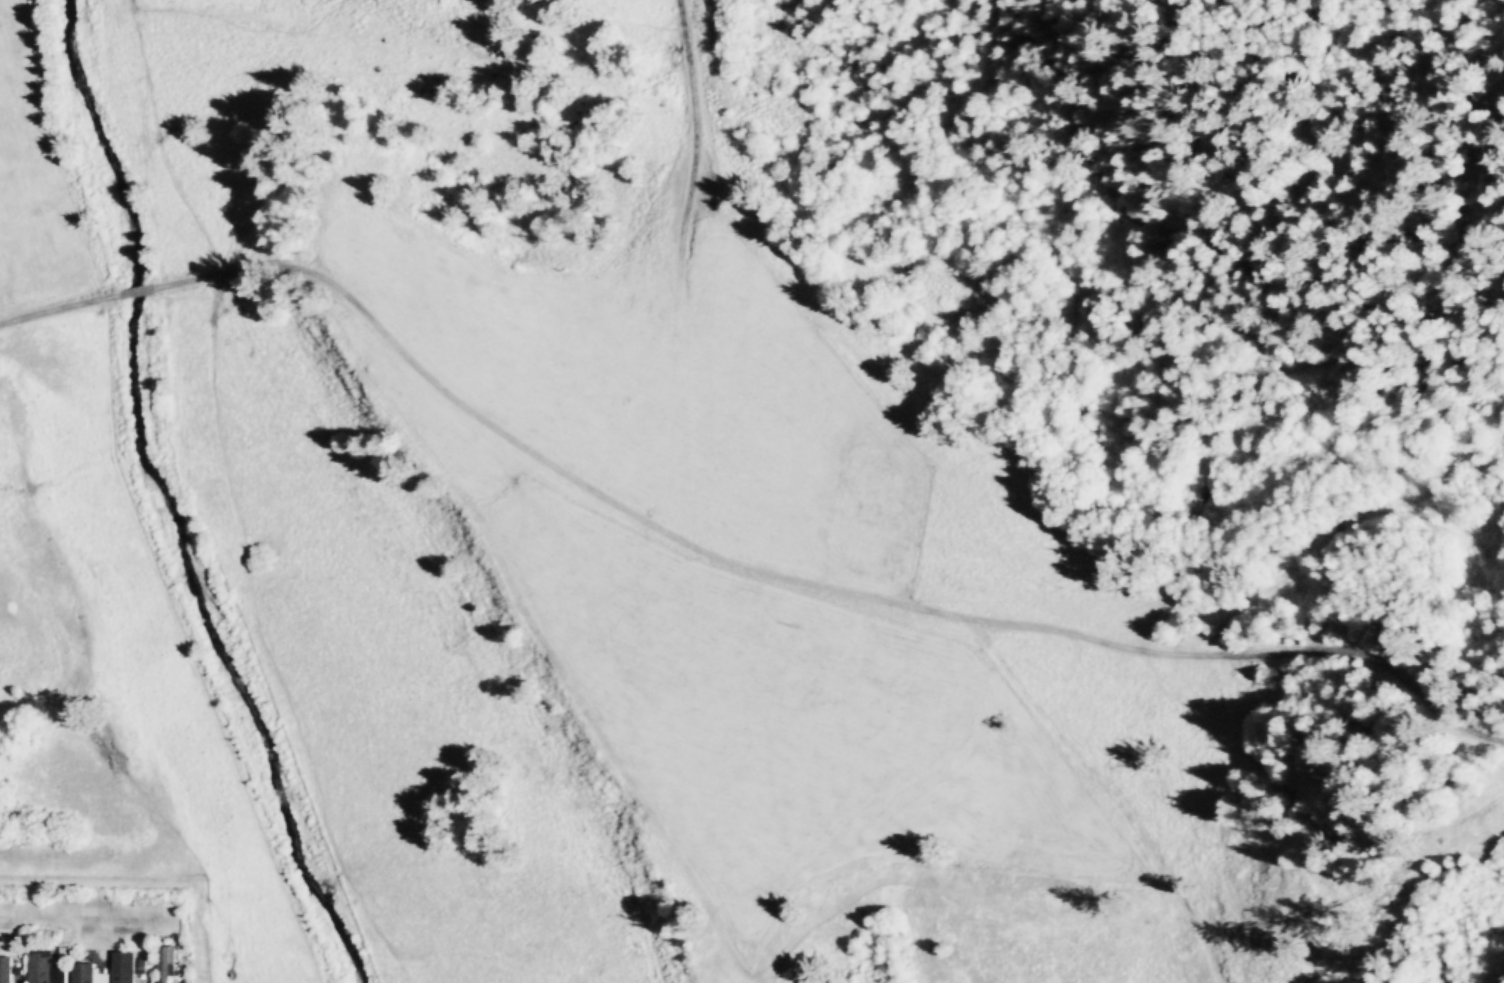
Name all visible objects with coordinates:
road: (700, 120)
road: (146, 292)
road: (60, 310)
river: (168, 505)
road: (804, 582)
building: (168, 964)
building: (49, 967)
building: (126, 967)
building: (6, 969)
building: (86, 973)

